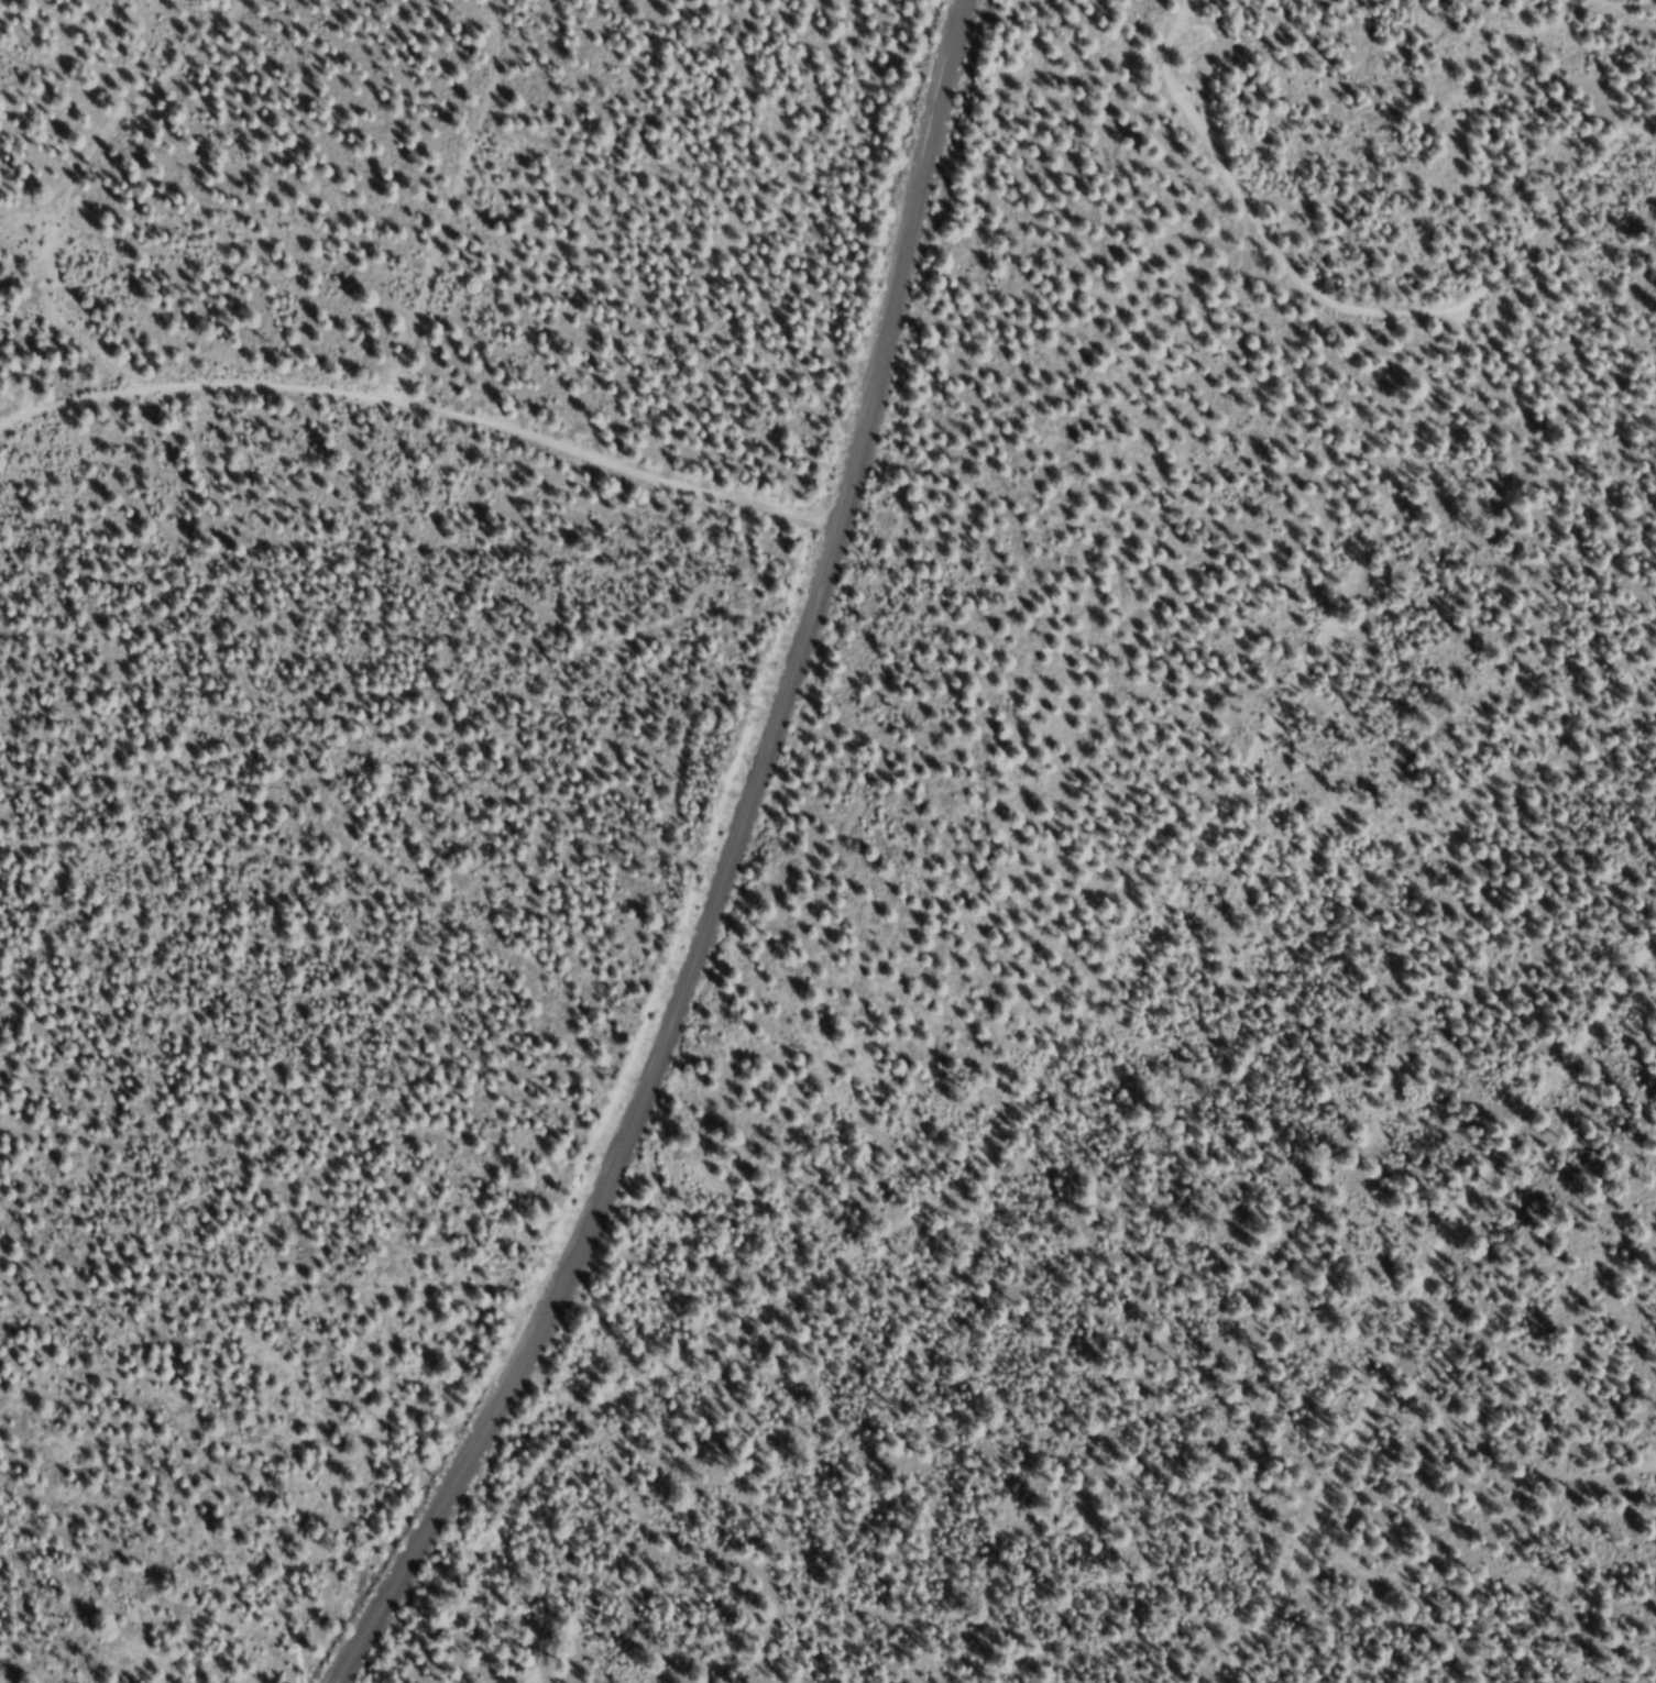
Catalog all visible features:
road: (22, 53)
road: (101, 151)
road: (494, 176)
road: (1260, 218)
road: (447, 356)
road: (768, 881)
road: (1116, 986)
road: (1418, 1312)

